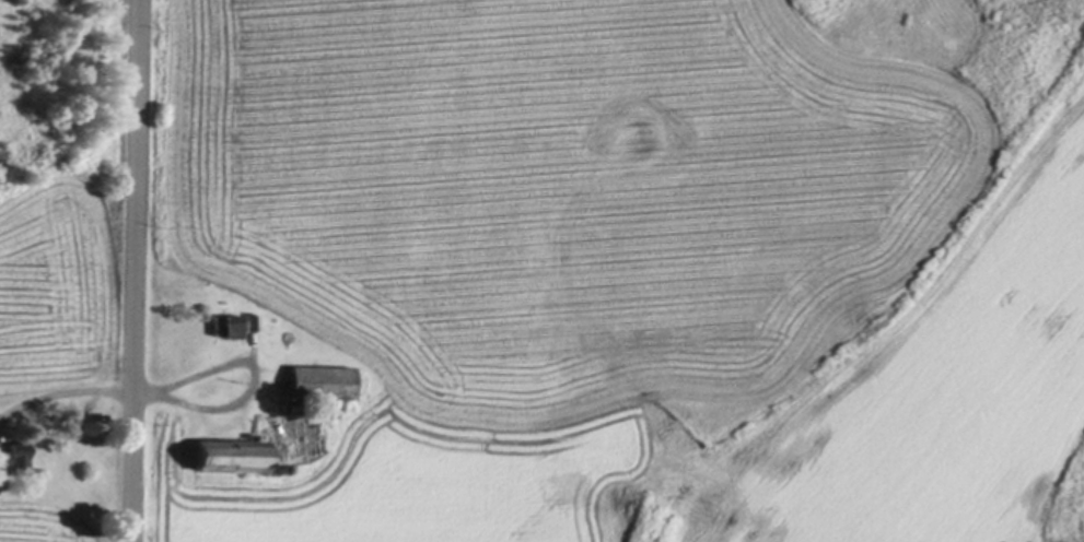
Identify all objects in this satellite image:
road: (135, 271)
building: (250, 319)
building: (225, 323)
building: (319, 379)
building: (295, 405)
building: (230, 452)
building: (15, 456)
building: (275, 466)

